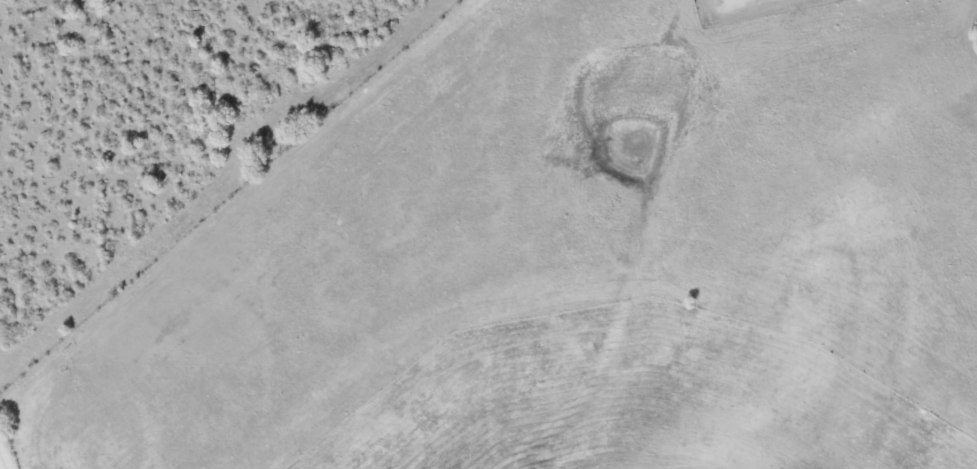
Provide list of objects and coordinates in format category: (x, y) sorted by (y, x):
road: (1, 465)

